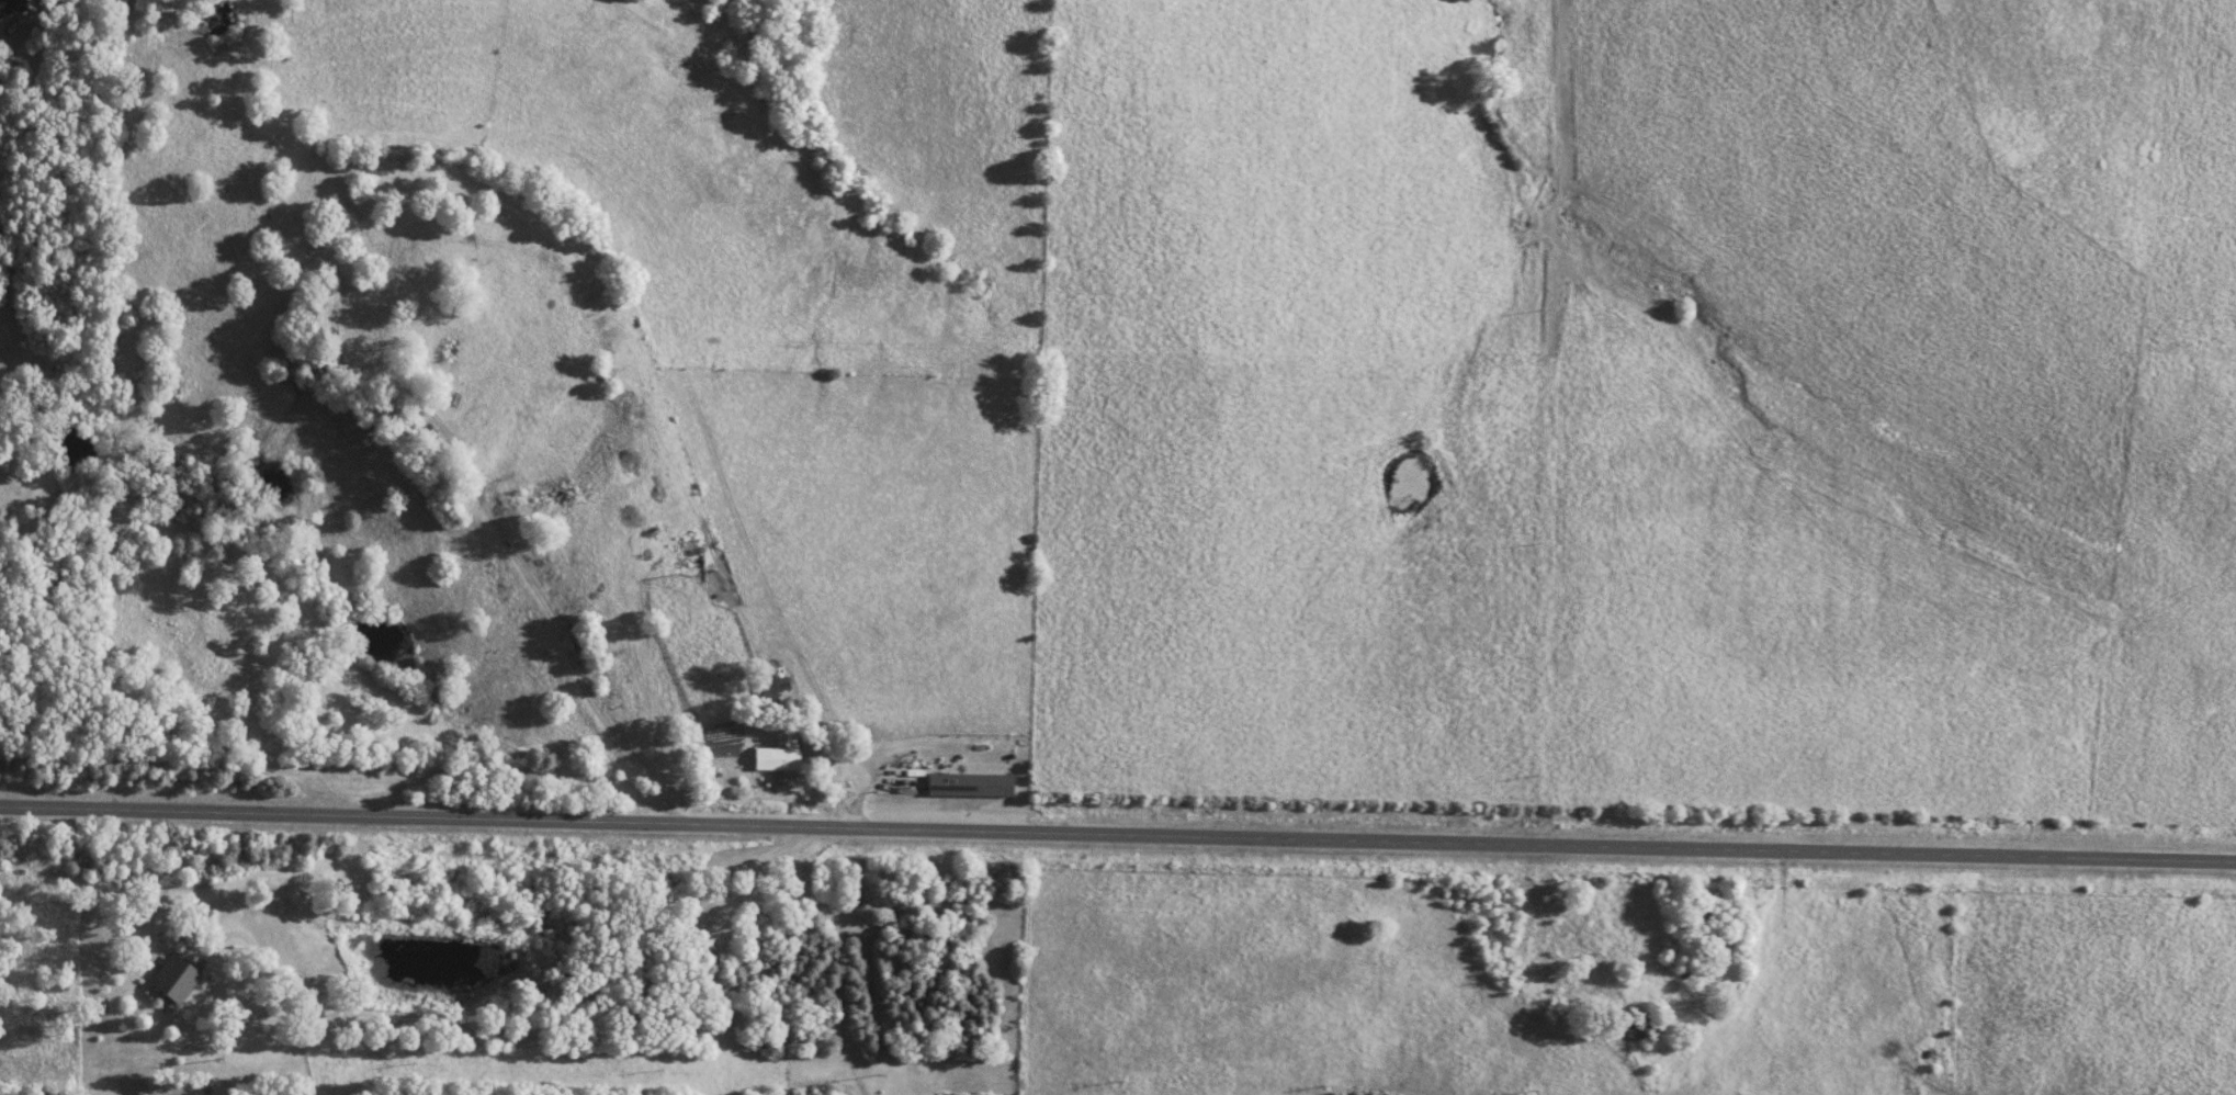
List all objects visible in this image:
building: (12, 5)
building: (692, 552)
building: (776, 686)
building: (781, 760)
building: (973, 784)
road: (1118, 836)
building: (1706, 915)
building: (178, 979)
building: (1645, 1028)

